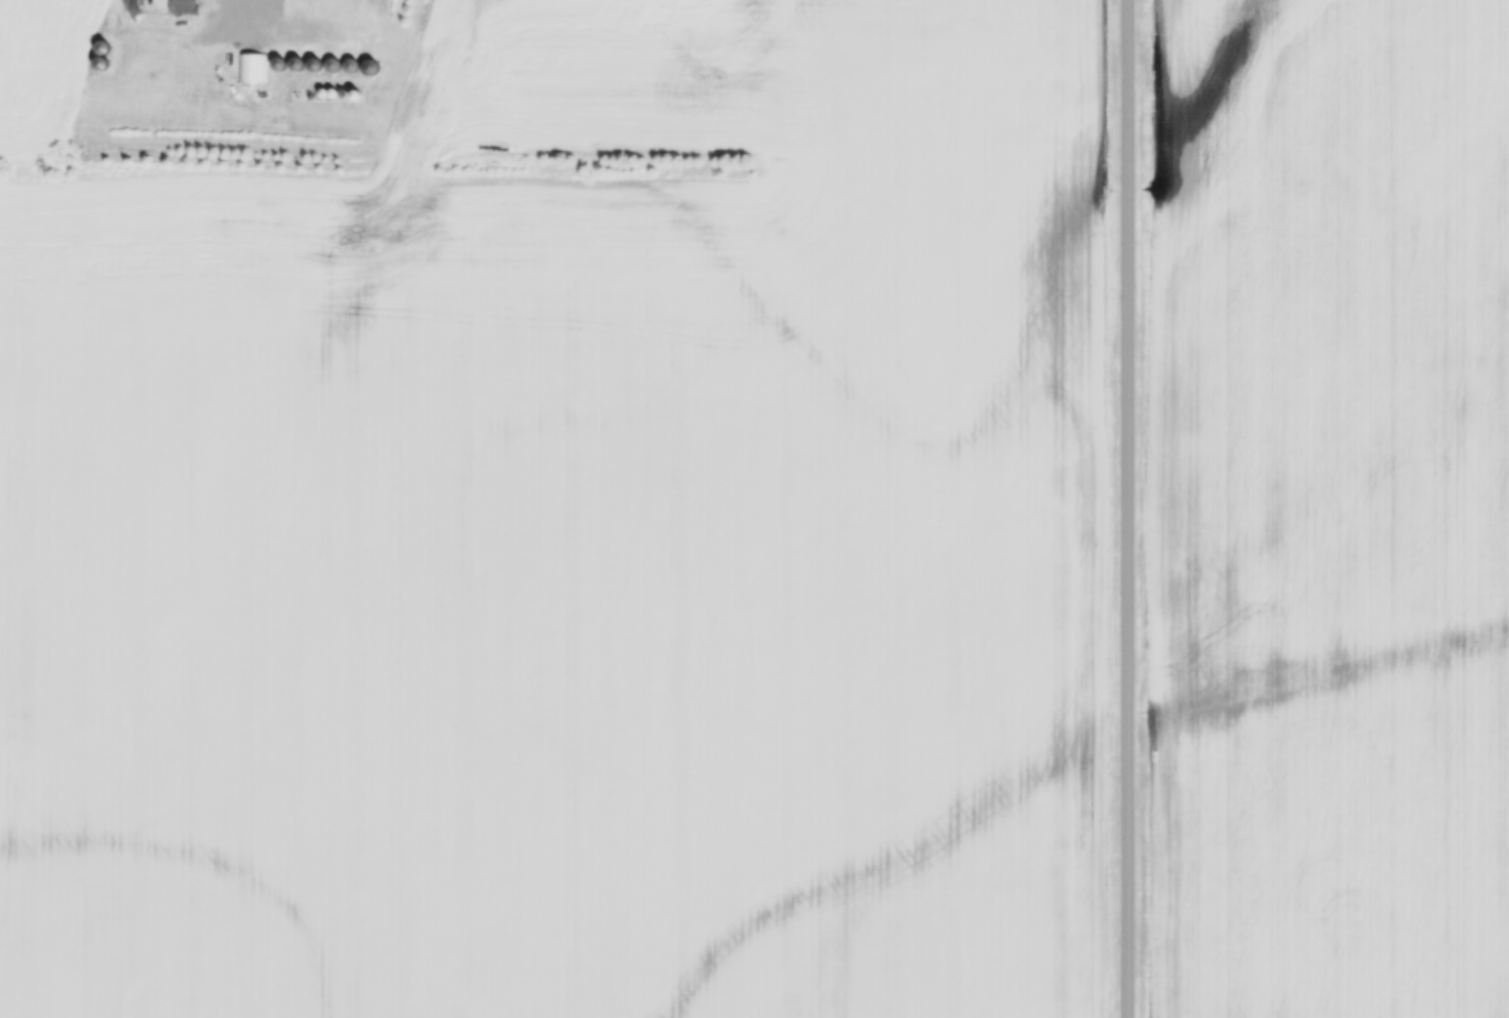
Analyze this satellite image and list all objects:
building: (168, 6)
road: (247, 20)
building: (254, 65)
road: (1133, 509)

